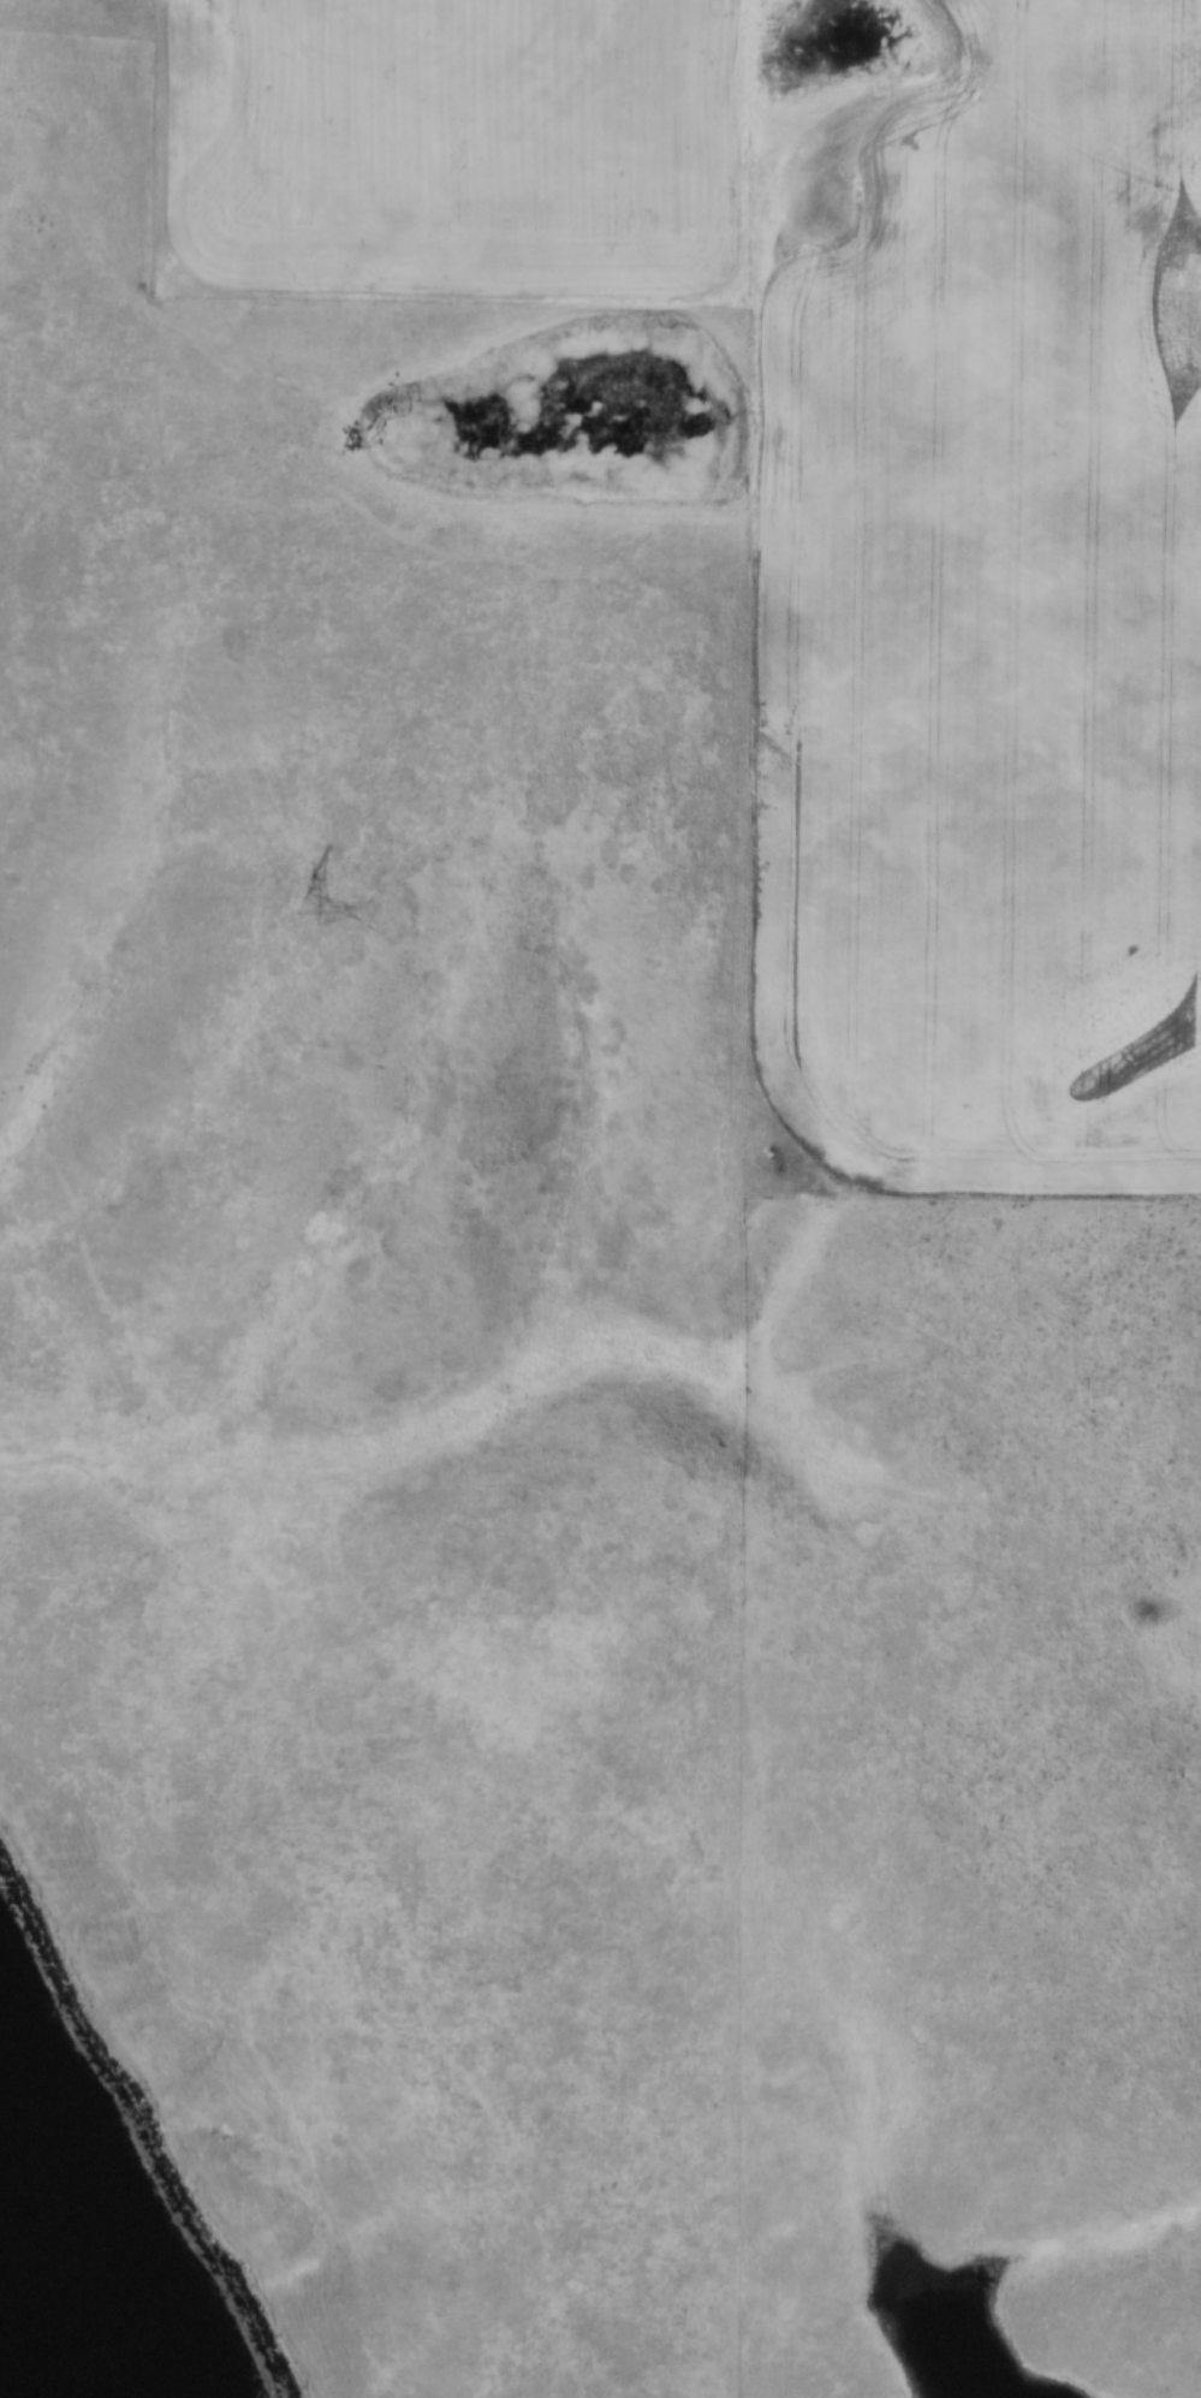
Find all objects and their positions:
power tower: (319, 896)

